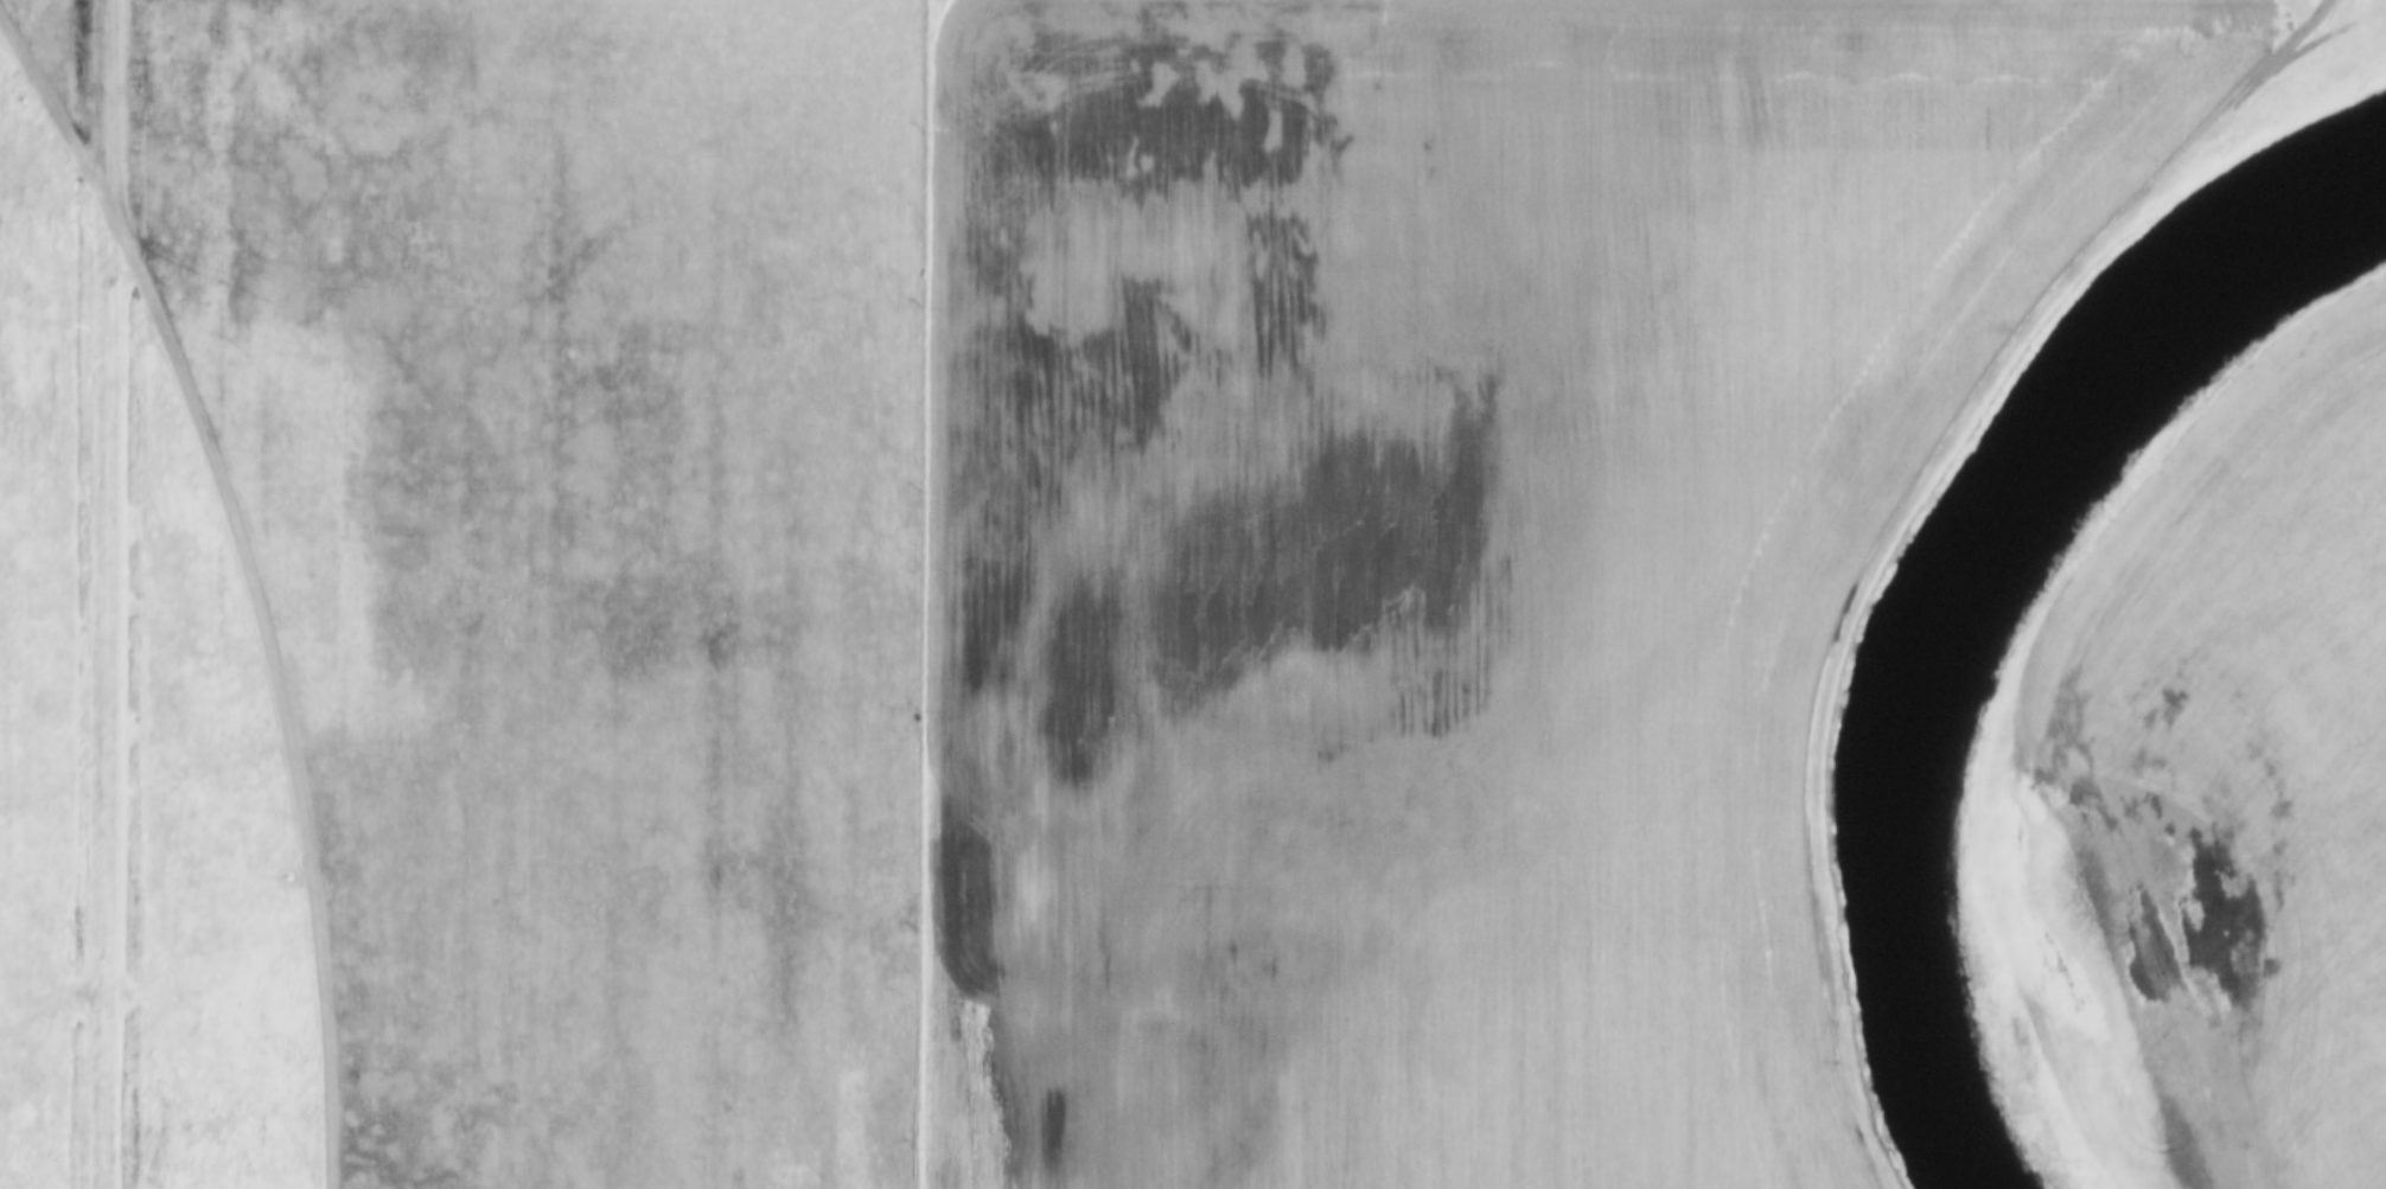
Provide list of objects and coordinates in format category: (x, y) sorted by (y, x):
road: (1893, 525)
road: (260, 570)
road: (121, 594)
river: (1960, 600)

